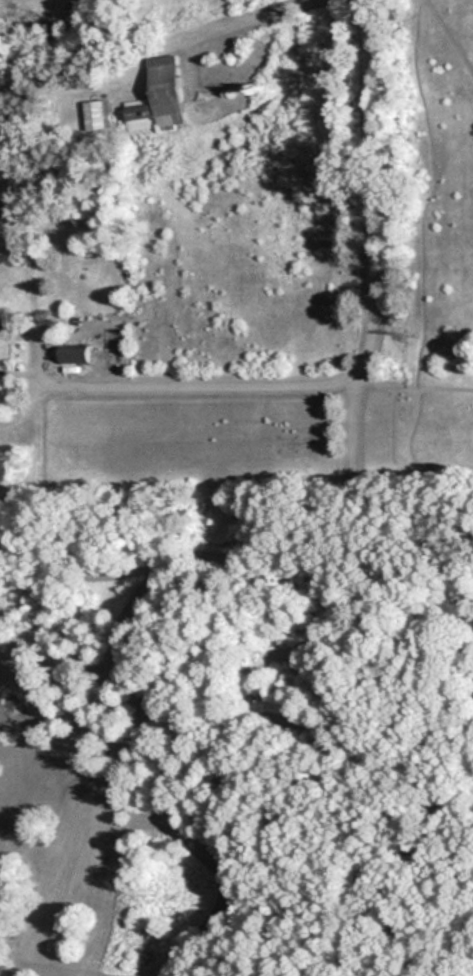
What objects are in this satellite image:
road: (234, 21)
building: (168, 89)
building: (99, 113)
building: (141, 114)
road: (362, 205)
building: (75, 354)
road: (184, 382)

